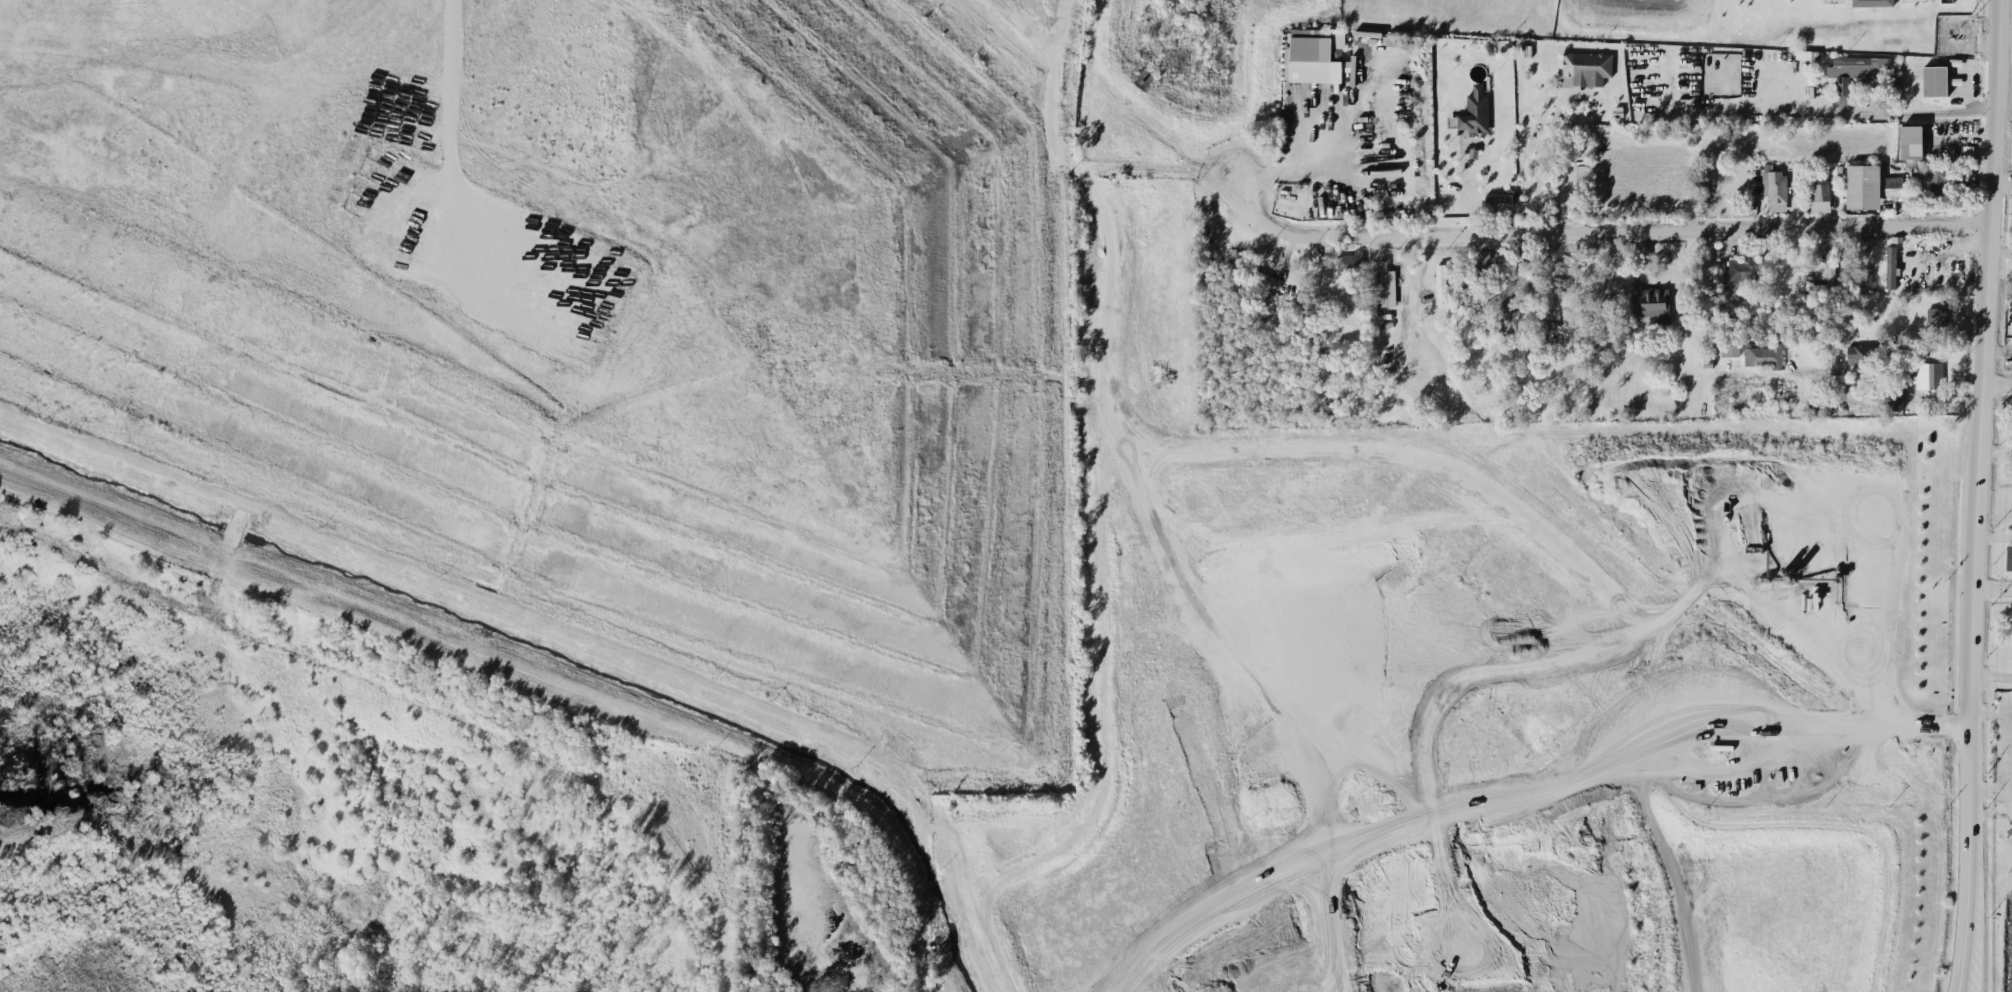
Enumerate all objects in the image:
building: (1872, 3)
building: (1313, 56)
building: (1584, 68)
building: (1856, 69)
building: (1935, 80)
building: (1892, 82)
road: (454, 102)
building: (1476, 111)
road: (1879, 115)
building: (1911, 141)
building: (1968, 151)
road: (1316, 165)
road: (1539, 170)
building: (1581, 173)
building: (1934, 176)
road: (2003, 179)
building: (1893, 184)
road: (1467, 186)
building: (1863, 186)
building: (1775, 189)
building: (1819, 197)
building: (1499, 201)
road: (1518, 229)
road: (1410, 259)
building: (1350, 262)
building: (1891, 266)
building: (1744, 268)
building: (1441, 283)
building: (1385, 284)
building: (1655, 304)
building: (1936, 316)
landfill: (600, 317)
building: (1730, 349)
building: (1861, 354)
building: (1764, 355)
road: (1896, 372)
building: (1929, 374)
road: (1998, 381)
road: (1996, 450)
road: (1977, 496)
building: (2009, 557)
road: (1991, 587)
road: (1989, 712)
road: (2010, 758)
road: (1583, 768)
road: (1990, 788)

